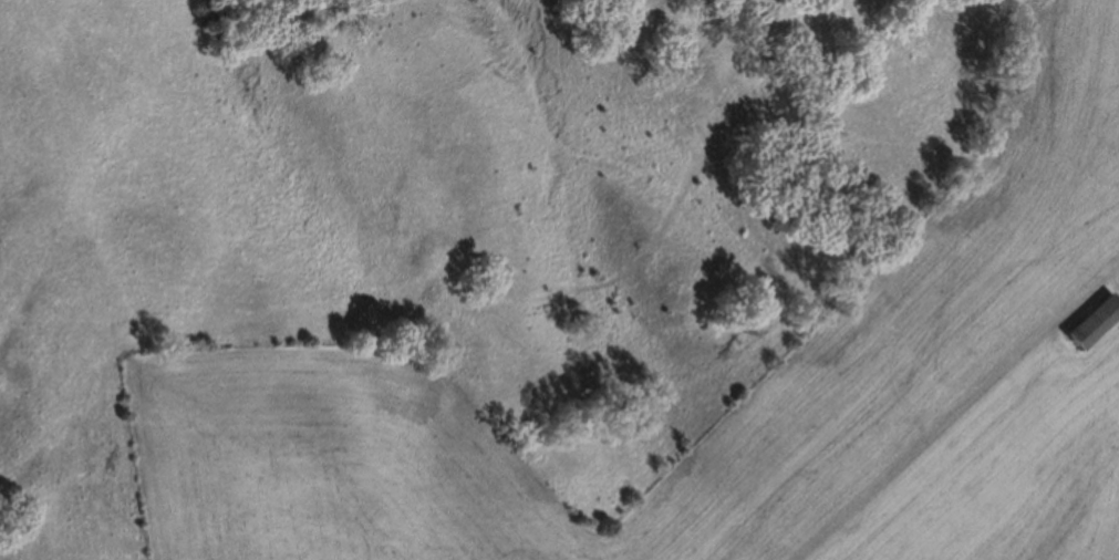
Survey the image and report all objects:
building: (1092, 324)

